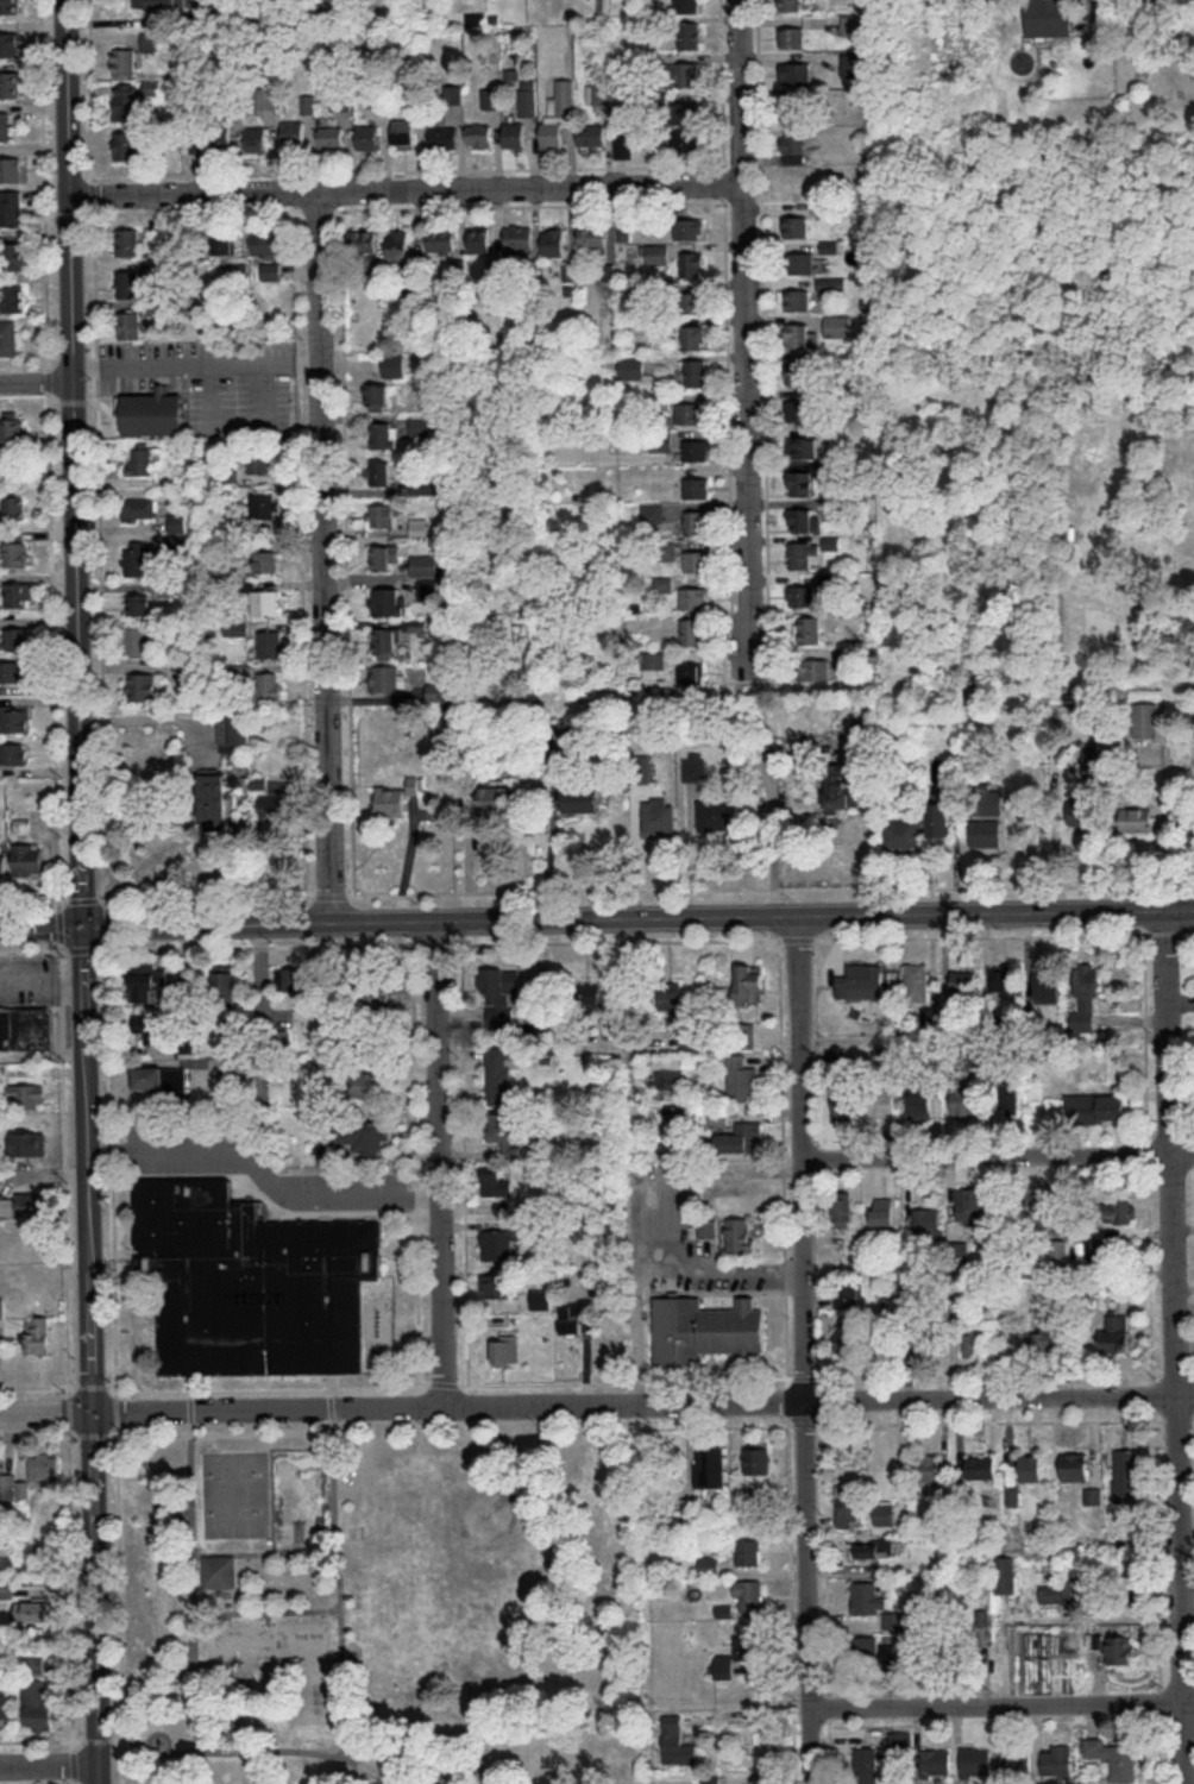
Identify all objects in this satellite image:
building: (155, 2)
building: (792, 5)
building: (8, 6)
building: (686, 6)
building: (1048, 18)
building: (851, 24)
building: (687, 34)
building: (791, 36)
building: (151, 40)
building: (10, 43)
building: (124, 61)
building: (851, 64)
building: (794, 73)
building: (686, 74)
building: (10, 83)
road: (90, 89)
building: (597, 93)
road: (68, 94)
building: (490, 96)
building: (527, 98)
building: (126, 101)
building: (308, 102)
building: (685, 112)
building: (557, 113)
building: (5, 125)
building: (403, 132)
building: (331, 133)
building: (294, 134)
building: (479, 134)
building: (514, 134)
building: (220, 136)
building: (444, 136)
building: (367, 137)
building: (591, 137)
building: (257, 138)
building: (685, 140)
building: (127, 144)
building: (191, 145)
building: (622, 145)
building: (793, 145)
road: (490, 168)
building: (11, 169)
park: (815, 181)
road: (44, 183)
road: (406, 189)
road: (93, 194)
building: (11, 207)
road: (314, 209)
road: (199, 211)
building: (794, 226)
building: (687, 227)
building: (592, 237)
building: (517, 238)
building: (479, 239)
building: (364, 240)
building: (441, 240)
building: (553, 240)
building: (127, 241)
building: (224, 241)
building: (266, 244)
building: (397, 244)
building: (654, 253)
building: (15, 256)
building: (800, 262)
building: (692, 263)
building: (270, 269)
road: (95, 282)
building: (128, 283)
building: (830, 283)
road: (761, 288)
building: (12, 297)
building: (794, 299)
building: (696, 301)
road: (724, 303)
building: (128, 323)
building: (837, 325)
building: (800, 334)
building: (693, 337)
building: (7, 338)
road: (743, 340)
road: (195, 362)
road: (98, 365)
building: (392, 365)
building: (631, 366)
building: (794, 369)
building: (696, 371)
parking lot: (208, 377)
road: (48, 378)
road: (36, 381)
road: (210, 392)
road: (262, 392)
building: (376, 392)
road: (54, 401)
road: (71, 401)
road: (103, 407)
building: (797, 409)
building: (151, 413)
building: (689, 413)
building: (421, 425)
building: (11, 431)
building: (383, 434)
building: (802, 446)
building: (695, 448)
building: (145, 458)
building: (259, 463)
building: (381, 471)
building: (798, 482)
building: (427, 484)
building: (696, 486)
building: (264, 505)
building: (14, 507)
building: (139, 508)
building: (652, 511)
building: (384, 514)
building: (804, 519)
building: (696, 521)
building: (177, 522)
building: (13, 553)
building: (804, 554)
road: (323, 555)
building: (385, 555)
road: (78, 558)
building: (137, 559)
building: (265, 560)
building: (696, 560)
building: (426, 564)
road: (42, 576)
building: (423, 590)
building: (18, 593)
building: (802, 595)
building: (693, 597)
building: (388, 601)
building: (265, 602)
building: (138, 604)
building: (806, 629)
building: (691, 632)
building: (17, 637)
road: (102, 641)
building: (134, 641)
building: (387, 642)
building: (271, 643)
road: (54, 649)
building: (815, 668)
building: (13, 671)
building: (690, 671)
building: (389, 678)
building: (270, 685)
building: (142, 686)
building: (438, 691)
building: (14, 717)
building: (1145, 718)
building: (239, 729)
building: (14, 753)
building: (695, 766)
building: (642, 767)
building: (257, 781)
building: (841, 789)
building: (396, 797)
building: (496, 798)
building: (580, 799)
building: (213, 800)
building: (991, 802)
building: (276, 806)
building: (1079, 811)
building: (659, 814)
building: (712, 815)
building: (938, 818)
building: (1138, 821)
road: (774, 830)
building: (901, 833)
building: (986, 833)
building: (29, 859)
building: (4, 865)
road: (772, 887)
road: (331, 896)
road: (206, 897)
road: (82, 899)
road: (33, 900)
road: (1180, 907)
road: (624, 915)
road: (61, 924)
road: (108, 925)
road: (42, 928)
road: (1192, 930)
road: (1171, 931)
road: (985, 936)
road: (798, 938)
road: (617, 941)
road: (440, 943)
road: (263, 944)
road: (83, 948)
road: (33, 949)
building: (999, 978)
building: (1088, 978)
building: (963, 979)
building: (294, 980)
building: (225, 981)
building: (861, 981)
building: (916, 981)
building: (147, 982)
building: (748, 984)
building: (371, 988)
building: (587, 993)
building: (501, 997)
building: (670, 997)
building: (150, 1026)
building: (26, 1028)
building: (360, 1037)
road: (1145, 1037)
road: (62, 1054)
building: (499, 1074)
building: (159, 1078)
building: (740, 1078)
building: (365, 1083)
building: (27, 1094)
building: (1008, 1099)
building: (843, 1101)
building: (881, 1101)
building: (919, 1104)
building: (1096, 1106)
building: (717, 1118)
road: (112, 1131)
building: (505, 1131)
building: (365, 1135)
building: (741, 1137)
building: (29, 1143)
road: (1149, 1151)
road: (1186, 1154)
road: (989, 1155)
road: (783, 1161)
road: (446, 1164)
road: (415, 1167)
road: (90, 1169)
road: (268, 1173)
road: (45, 1175)
building: (496, 1180)
building: (24, 1202)
building: (1038, 1205)
building: (969, 1206)
building: (841, 1208)
building: (882, 1211)
building: (1120, 1211)
building: (926, 1219)
building: (706, 1227)
building: (741, 1233)
road: (634, 1236)
building: (496, 1244)
building: (1057, 1248)
building: (961, 1252)
road: (719, 1270)
road: (1150, 1271)
road: (65, 1280)
building: (253, 1284)
building: (498, 1284)
building: (540, 1299)
building: (838, 1301)
building: (894, 1301)
building: (2, 1305)
road: (818, 1306)
building: (570, 1317)
building: (705, 1328)
building: (1114, 1332)
building: (37, 1334)
building: (1045, 1337)
building: (847, 1339)
building: (974, 1340)
building: (930, 1343)
road: (1177, 1345)
road: (809, 1348)
building: (504, 1349)
road: (115, 1357)
road: (1175, 1372)
road: (819, 1374)
road: (988, 1374)
road: (1192, 1375)
road: (637, 1376)
road: (719, 1376)
road: (804, 1376)
road: (445, 1383)
road: (545, 1383)
road: (38, 1386)
road: (92, 1386)
road: (268, 1390)
road: (1154, 1395)
road: (1186, 1395)
road: (823, 1396)
road: (787, 1400)
road: (815, 1401)
road: (69, 1409)
road: (117, 1409)
road: (331, 1409)
road: (190, 1412)
road: (275, 1412)
road: (1193, 1413)
road: (48, 1414)
road: (1176, 1414)
road: (993, 1420)
road: (790, 1422)
road: (803, 1422)
road: (818, 1422)
road: (222, 1432)
road: (37, 1434)
road: (95, 1434)
building: (758, 1461)
building: (710, 1465)
building: (981, 1465)
building: (1075, 1465)
building: (43, 1466)
building: (928, 1466)
building: (1030, 1466)
road: (158, 1474)
building: (1124, 1474)
building: (7, 1485)
park: (237, 1494)
building: (1093, 1495)
park: (300, 1500)
building: (846, 1505)
building: (690, 1507)
building: (884, 1512)
road: (1156, 1546)
building: (874, 1547)
building: (749, 1551)
road: (263, 1553)
road: (827, 1553)
building: (708, 1565)
building: (218, 1570)
building: (1007, 1573)
road: (71, 1587)
building: (6, 1588)
road: (193, 1591)
building: (1061, 1591)
road: (339, 1593)
building: (748, 1594)
road: (98, 1598)
road: (791, 1601)
building: (873, 1602)
road: (120, 1604)
park: (384, 1608)
building: (33, 1610)
road: (268, 1613)
building: (744, 1647)
building: (866, 1647)
building: (1119, 1648)
building: (723, 1665)
road: (164, 1696)
road: (1160, 1700)
building: (4, 1703)
road: (1003, 1704)
building: (38, 1706)
road: (828, 1706)
road: (871, 1723)
road: (163, 1730)
building: (470, 1734)
road: (98, 1738)
road: (118, 1738)
road: (40, 1739)
building: (677, 1741)
road: (262, 1750)
road: (1161, 1750)
road: (829, 1751)
building: (1113, 1757)
building: (1057, 1758)
building: (1017, 1759)
building: (937, 1760)
building: (976, 1761)
road: (74, 1764)
building: (868, 1765)
road: (50, 1766)
building: (452, 1774)
road: (75, 1782)

